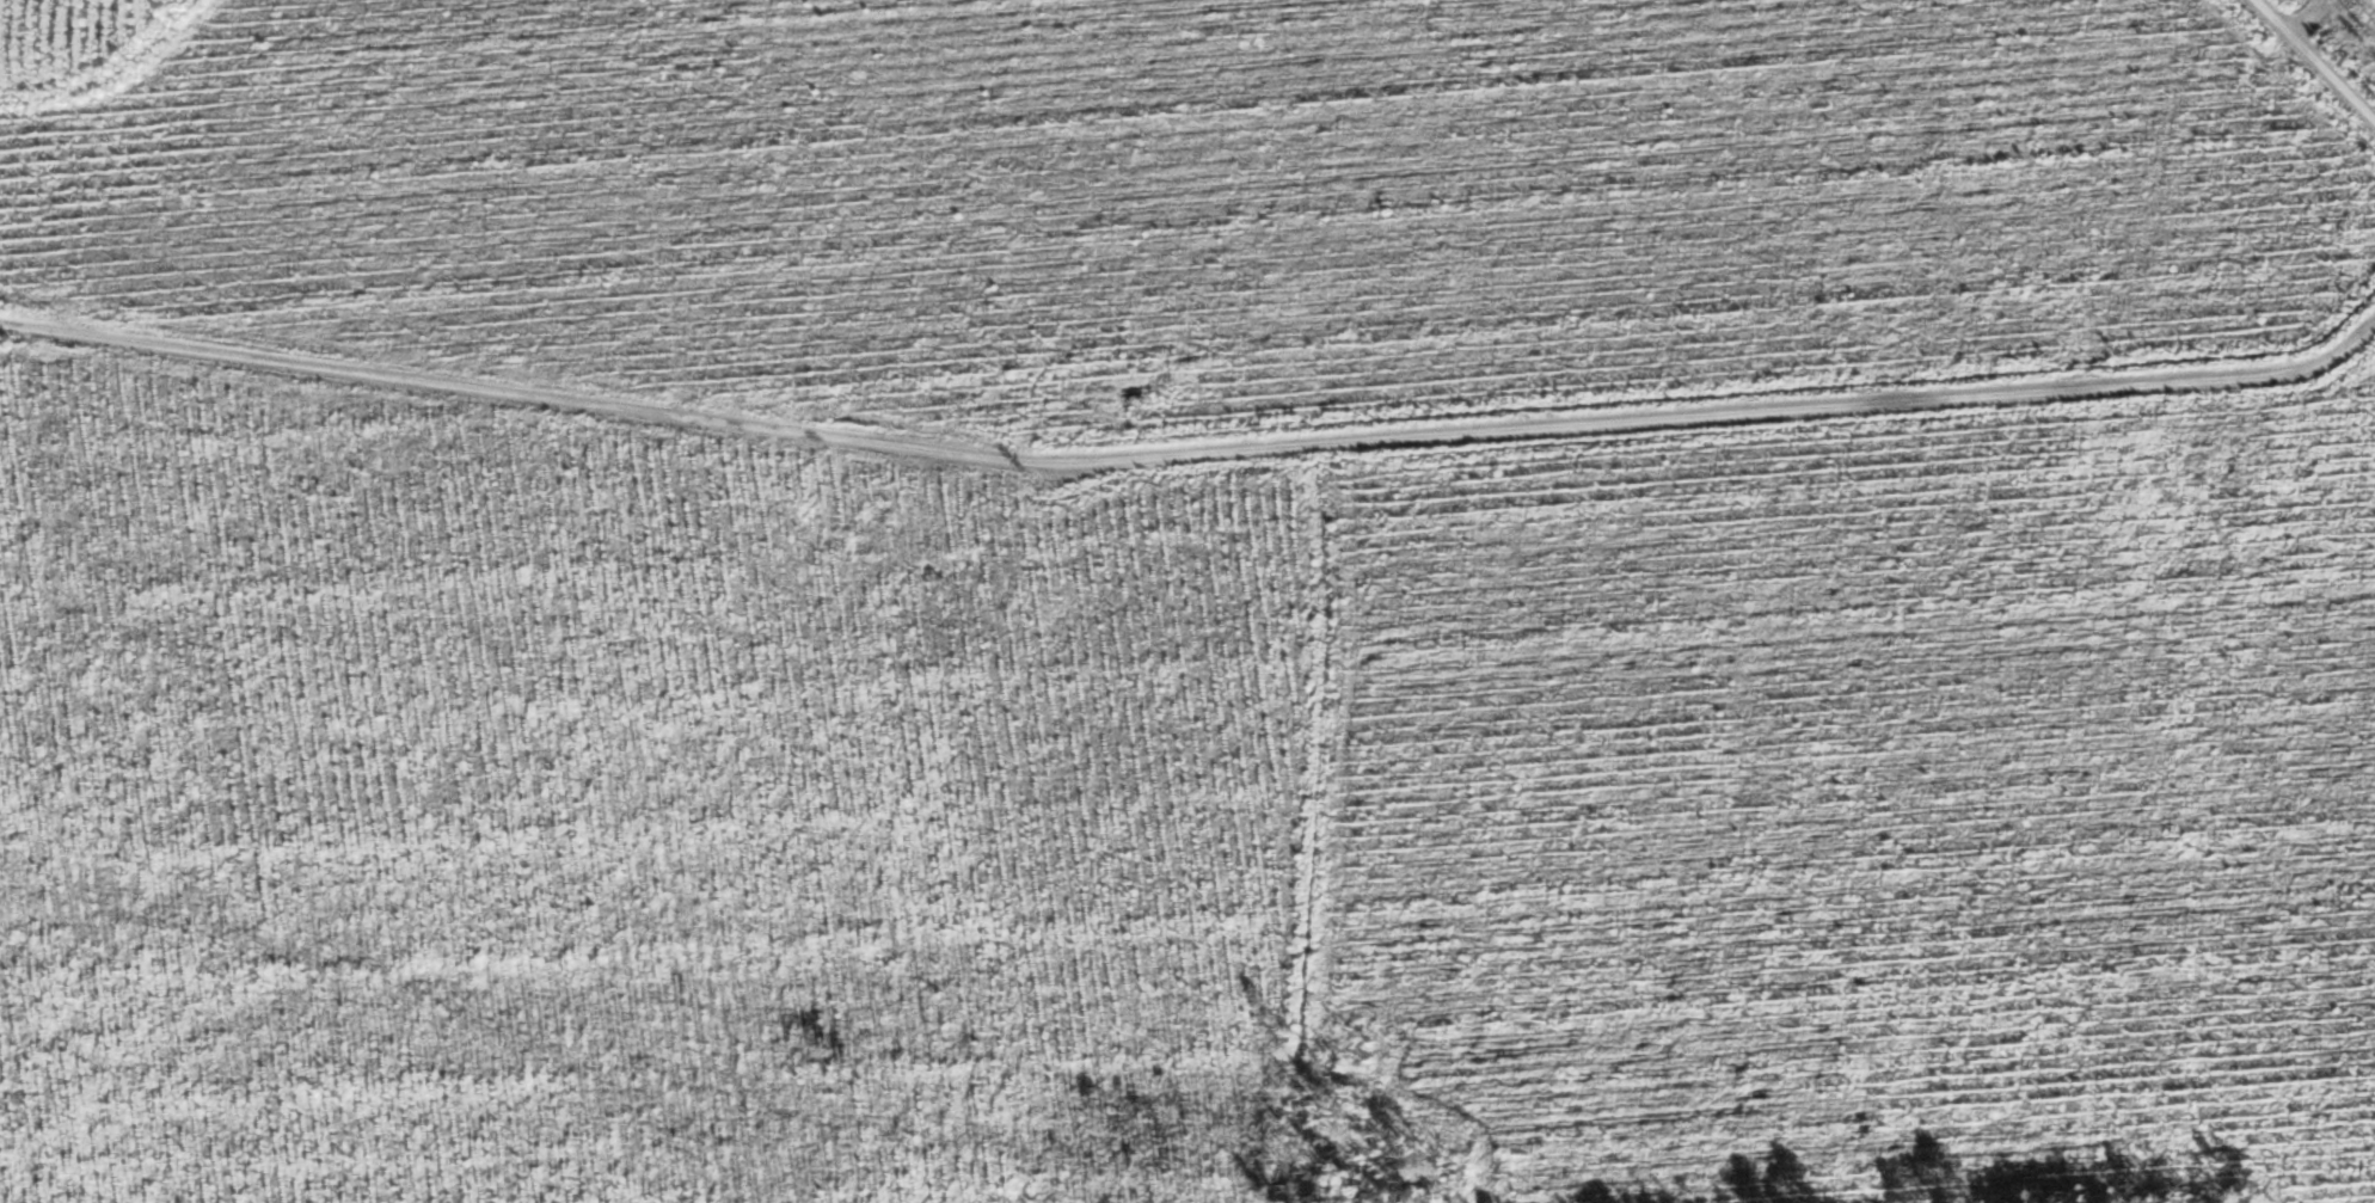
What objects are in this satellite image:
road: (2331, 44)

